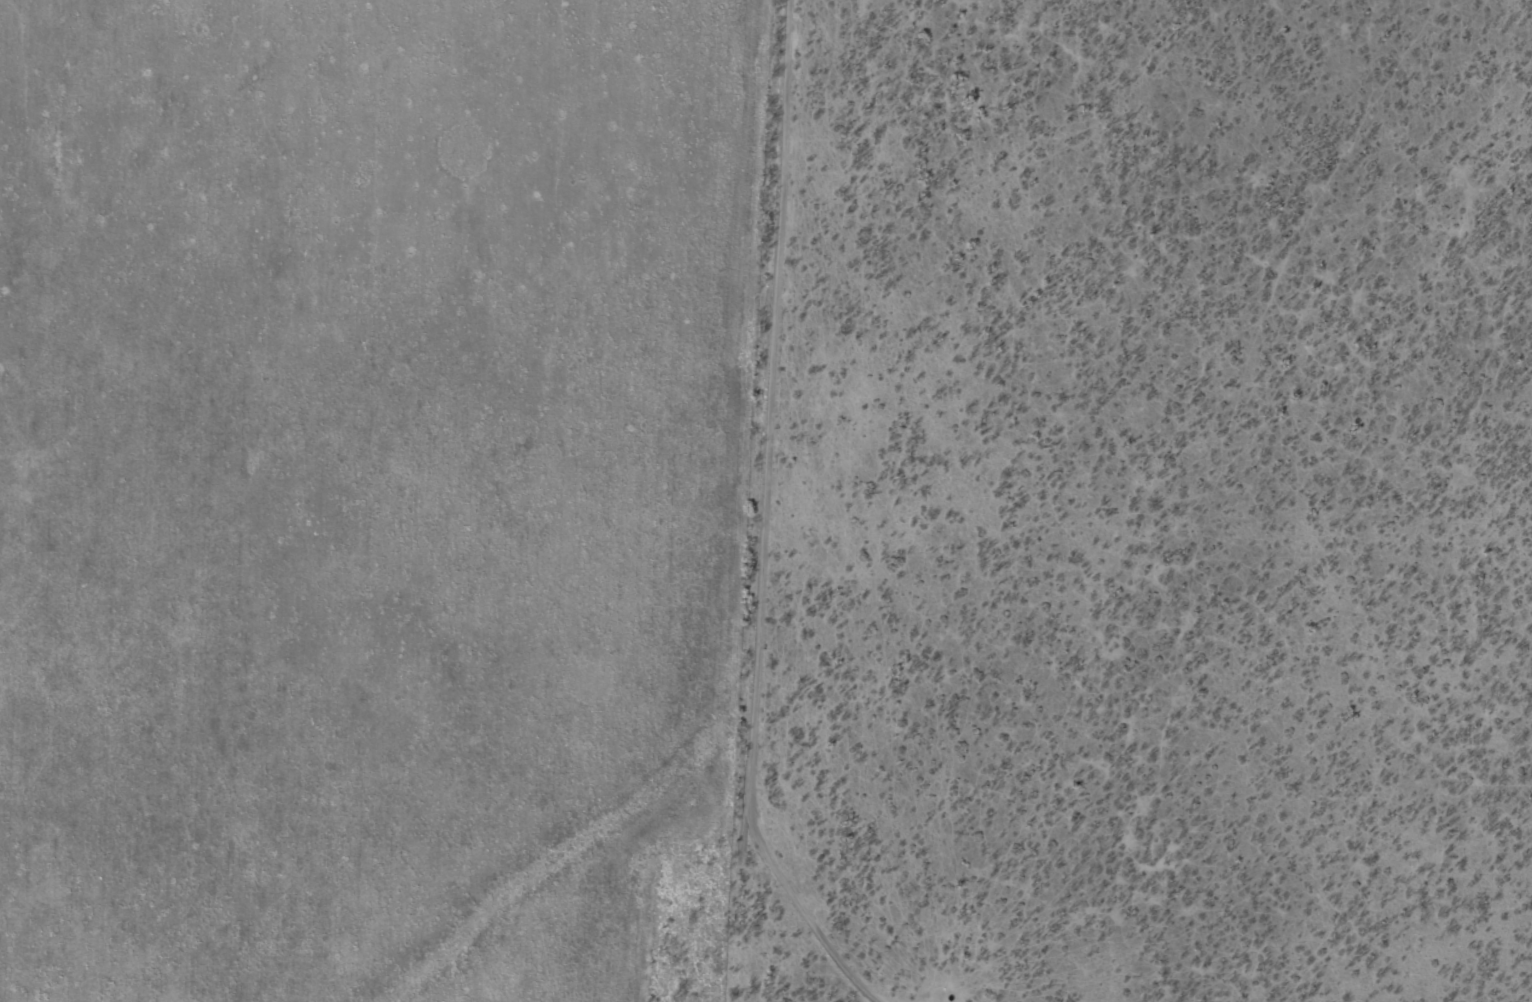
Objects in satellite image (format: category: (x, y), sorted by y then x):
road: (762, 510)

